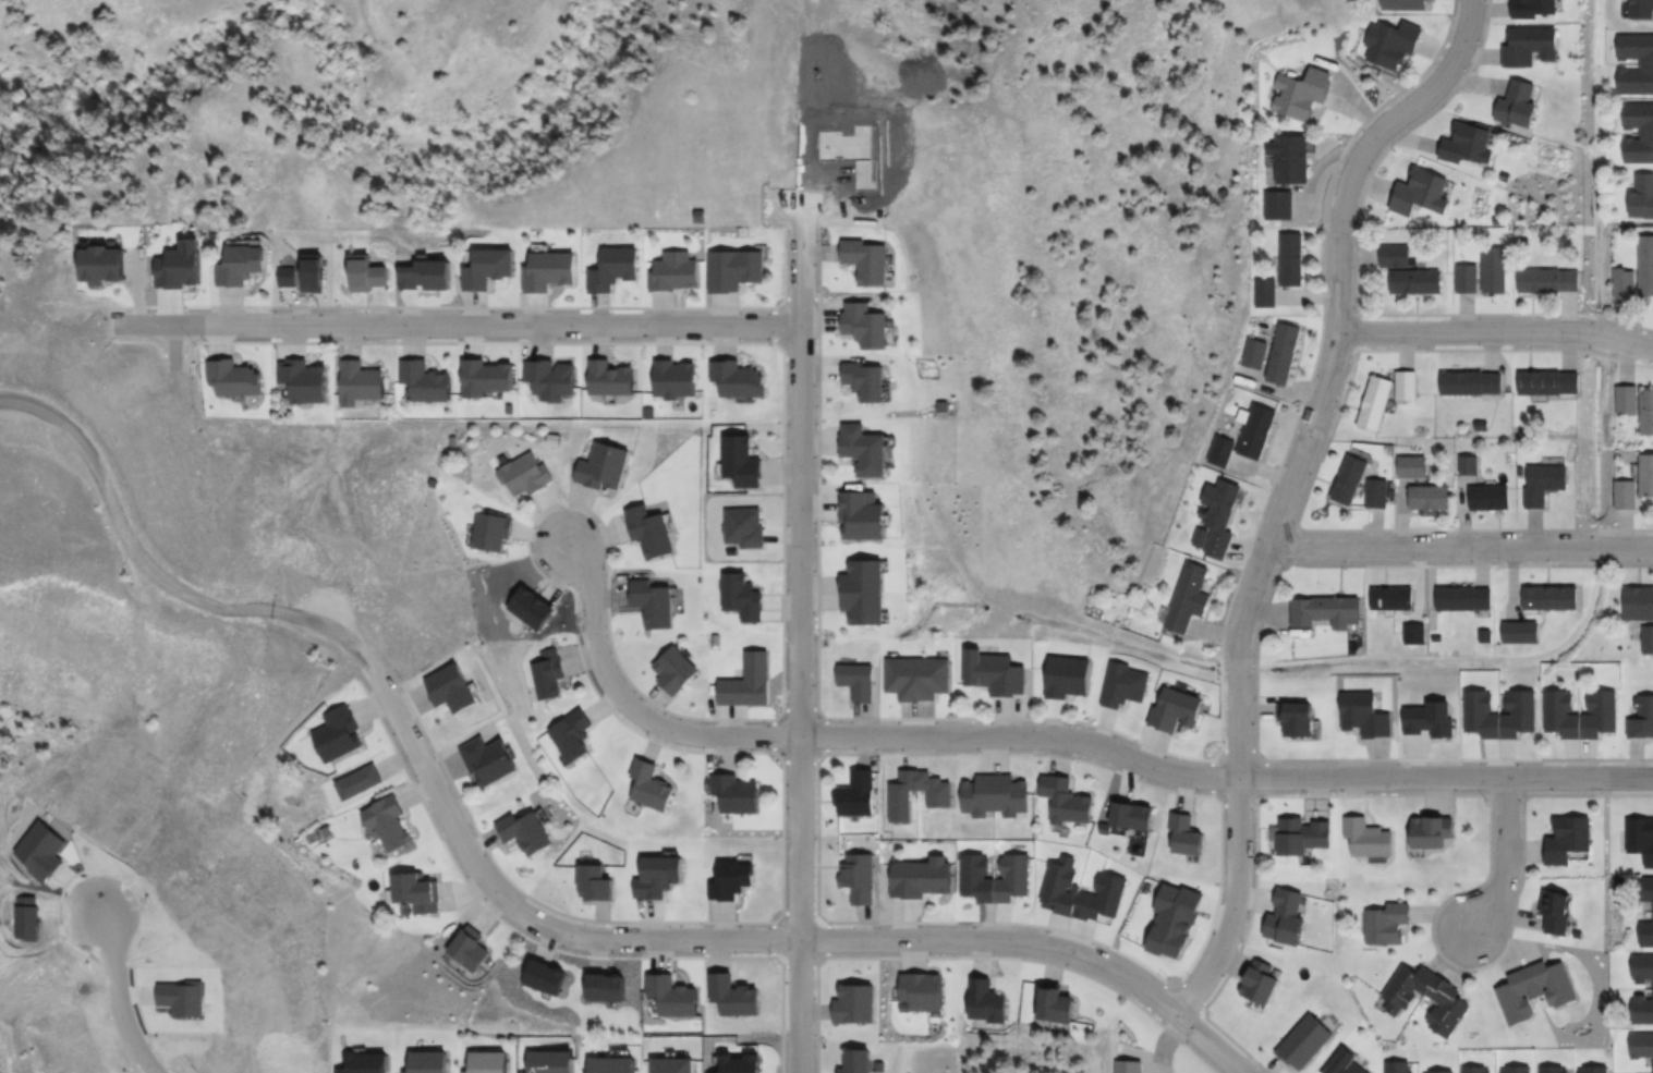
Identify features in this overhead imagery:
building: (1406, 4)
building: (1533, 9)
building: (1642, 10)
building: (1393, 45)
building: (1531, 47)
building: (1646, 65)
building: (1303, 95)
building: (1519, 105)
building: (1646, 135)
building: (1470, 146)
building: (1288, 161)
building: (1423, 194)
building: (1642, 197)
building: (1277, 206)
building: (1292, 260)
building: (867, 263)
building: (1648, 267)
building: (244, 268)
building: (487, 269)
building: (616, 270)
building: (737, 270)
building: (1495, 271)
building: (550, 272)
building: (315, 273)
building: (1409, 273)
building: (289, 275)
building: (370, 275)
building: (1466, 279)
road: (1357, 281)
building: (1549, 282)
building: (1626, 285)
building: (1264, 293)
road: (451, 322)
building: (866, 325)
road: (1492, 326)
building: (1285, 352)
building: (1254, 353)
building: (238, 377)
building: (490, 377)
building: (611, 378)
building: (677, 378)
building: (740, 378)
building: (306, 379)
building: (554, 379)
building: (866, 379)
building: (428, 380)
building: (363, 382)
building: (1549, 382)
building: (1474, 383)
building: (1406, 385)
building: (1628, 399)
building: (1375, 402)
building: (1646, 411)
building: (1257, 430)
building: (866, 448)
building: (1220, 450)
building: (744, 461)
building: (1469, 465)
building: (605, 466)
building: (1413, 466)
building: (525, 474)
building: (1648, 474)
building: (1350, 478)
building: (1544, 483)
road: (1292, 492)
building: (1378, 492)
building: (1627, 495)
building: (1430, 497)
building: (1492, 497)
building: (864, 515)
building: (1221, 515)
building: (743, 527)
building: (491, 531)
building: (652, 533)
road: (1462, 550)
road: (147, 564)
building: (864, 590)
building: (744, 597)
building: (1190, 597)
building: (1552, 597)
building: (1396, 598)
building: (1466, 598)
building: (656, 602)
building: (1638, 602)
building: (1326, 610)
building: (1521, 632)
building: (1646, 639)
road: (798, 642)
building: (676, 669)
building: (996, 673)
building: (547, 675)
building: (919, 678)
building: (1068, 678)
building: (859, 681)
building: (1125, 685)
building: (455, 687)
road: (627, 702)
building: (1177, 709)
building: (1500, 714)
building: (1581, 714)
building: (1365, 716)
building: (1640, 717)
building: (1299, 718)
building: (1430, 719)
building: (343, 733)
building: (573, 735)
building: (493, 760)
road: (1221, 777)
building: (360, 782)
building: (651, 785)
building: (737, 794)
building: (996, 794)
building: (858, 795)
building: (1068, 801)
building: (1135, 815)
building: (390, 822)
building: (530, 832)
building: (1188, 833)
building: (1432, 833)
building: (1304, 836)
building: (1369, 838)
building: (1569, 839)
building: (1641, 839)
road: (1498, 862)
building: (660, 877)
building: (860, 877)
building: (995, 877)
building: (732, 878)
building: (924, 878)
building: (597, 881)
building: (1646, 889)
building: (417, 891)
building: (1083, 891)
building: (1558, 911)
building: (1288, 916)
building: (1176, 920)
building: (1387, 923)
building: (1646, 932)
road: (743, 942)
building: (470, 950)
building: (1643, 968)
building: (1261, 981)
building: (1535, 990)
building: (672, 996)
road: (124, 997)
building: (734, 997)
building: (1454, 1000)
building: (986, 1001)
building: (855, 1002)
building: (1643, 1010)
building: (1306, 1040)
building: (1642, 1045)
building: (855, 1060)
building: (433, 1062)
building: (491, 1062)
building: (1349, 1064)
building: (674, 1065)
building: (1397, 1068)
building: (1476, 1070)
building: (1511, 1070)
building: (1555, 1070)
building: (1590, 1070)
building: (1434, 1072)

